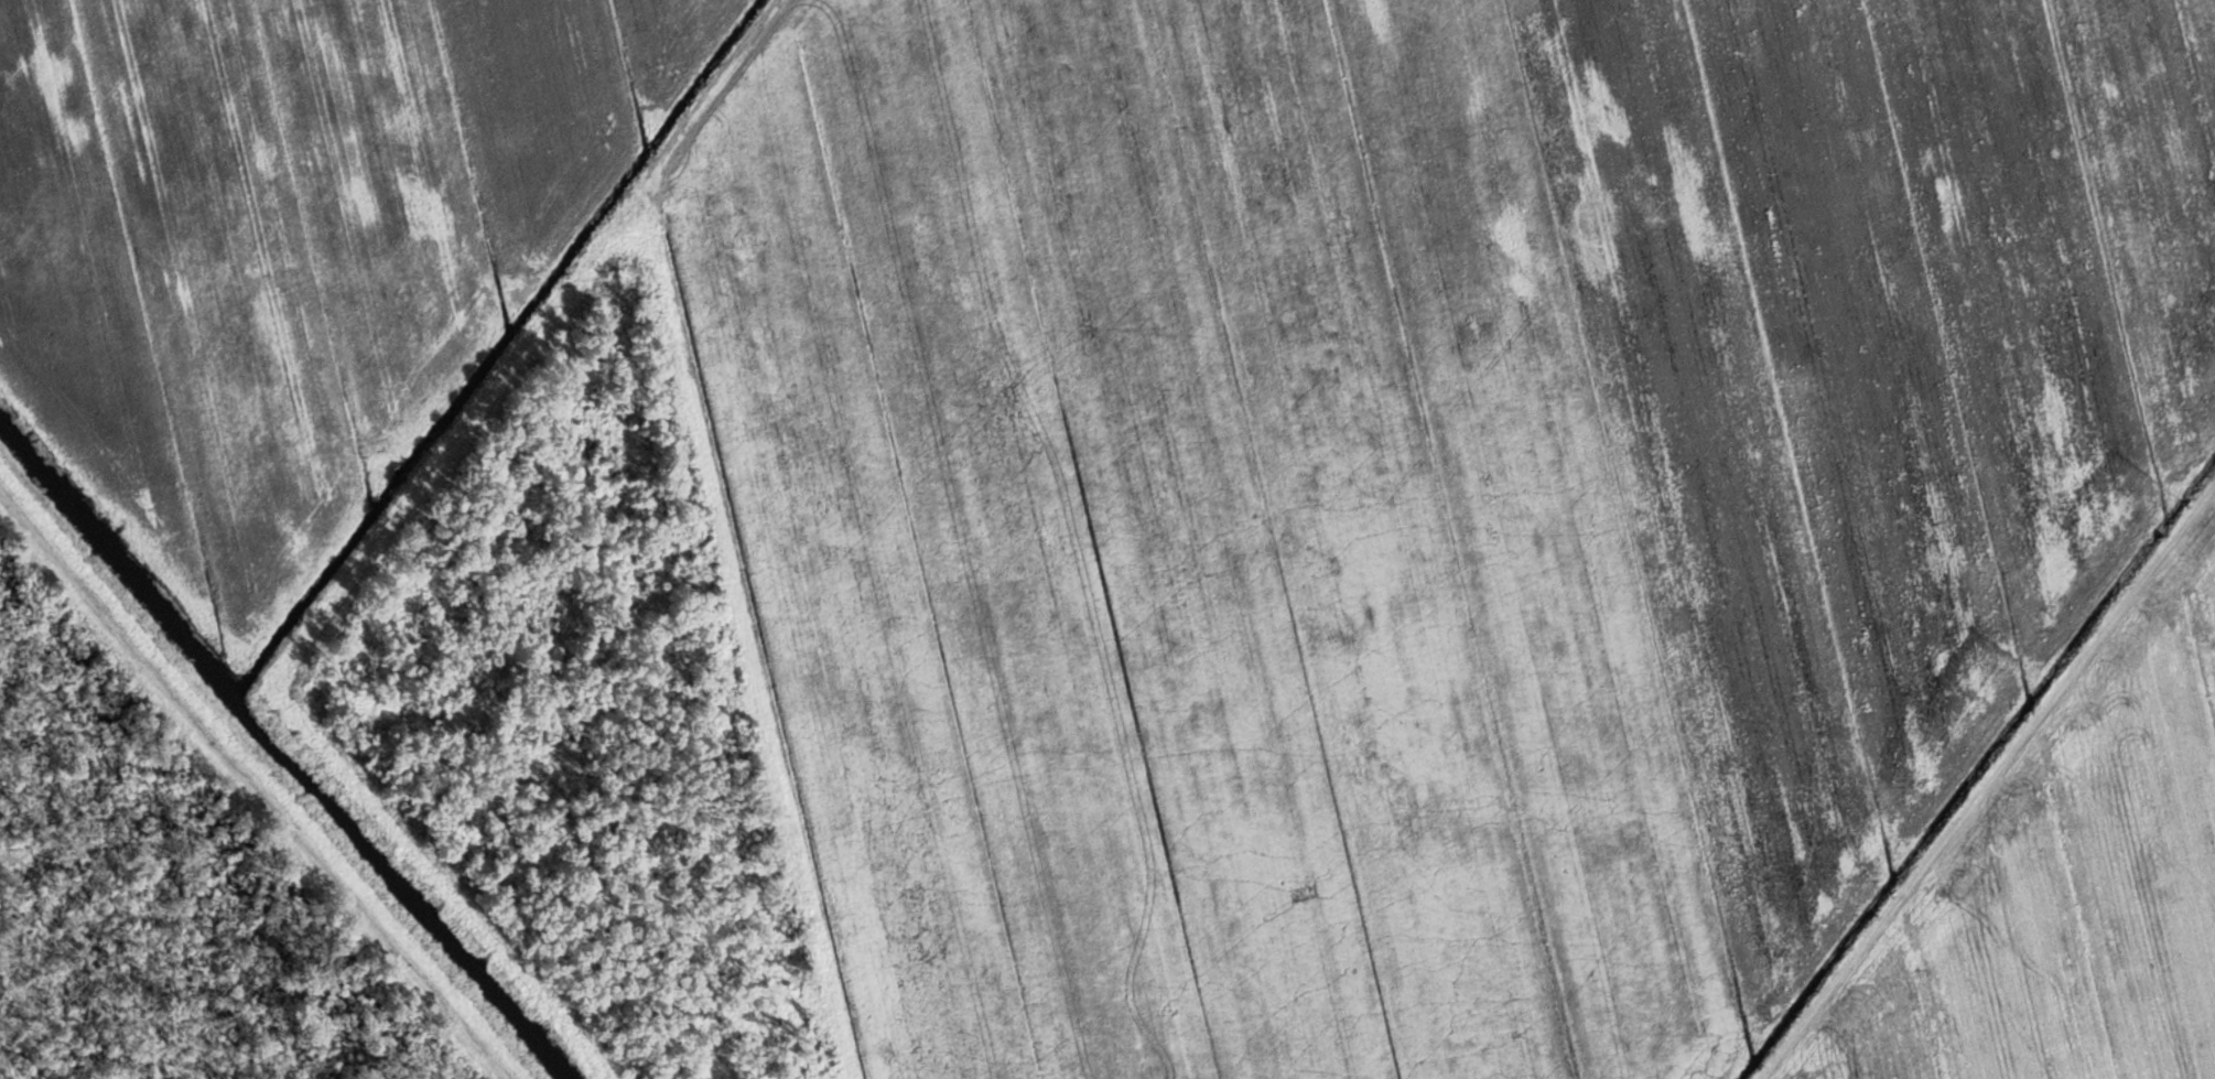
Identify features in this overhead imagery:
road: (723, 83)
crop: (290, 245)
crop: (1420, 492)
road: (87, 605)
crop: (2066, 885)
road: (349, 892)

